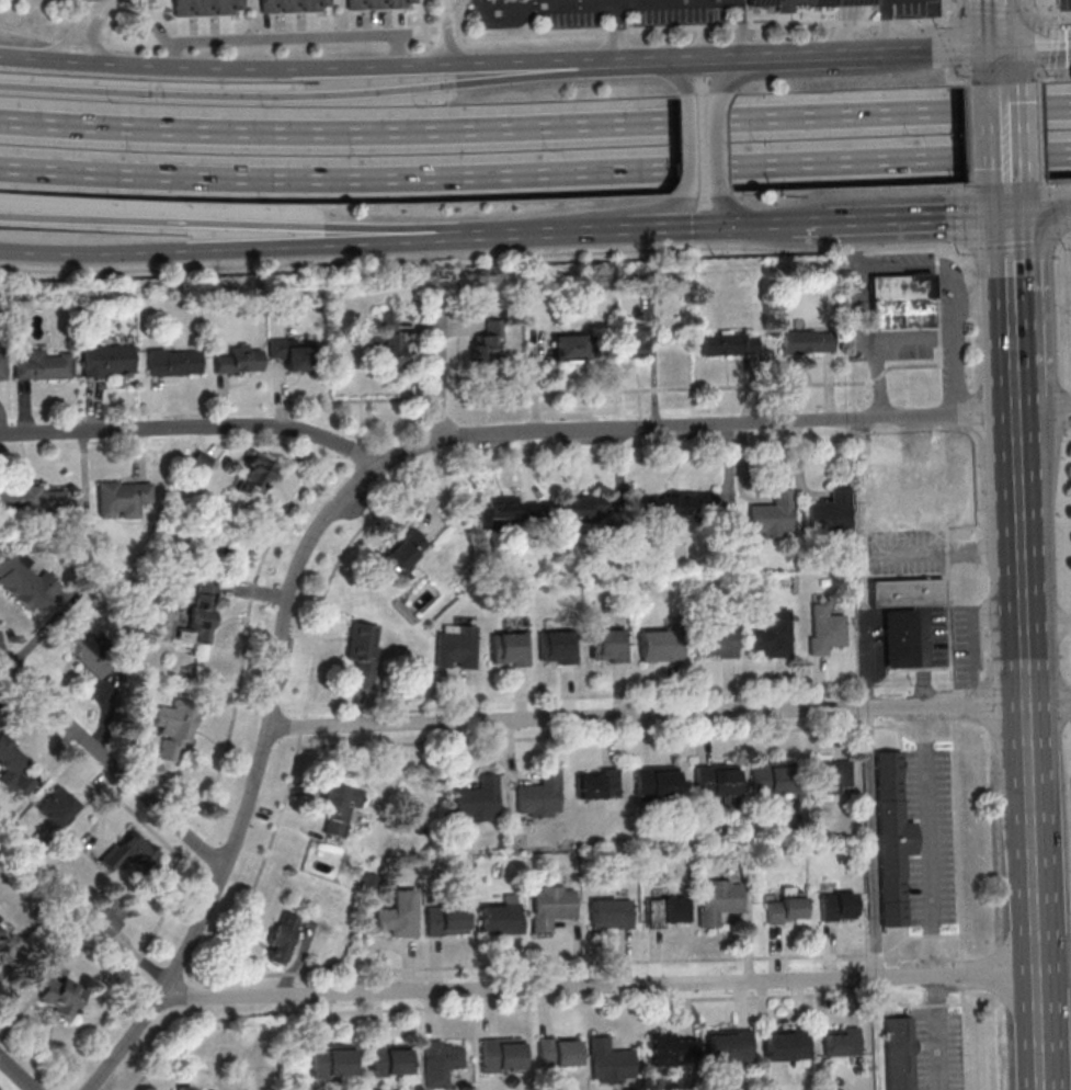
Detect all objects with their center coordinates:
road: (615, 1)
road: (853, 2)
building: (802, 3)
building: (378, 4)
road: (580, 4)
parking lot: (1066, 4)
building: (293, 5)
road: (1058, 7)
building: (206, 8)
road: (511, 8)
road: (950, 8)
road: (1000, 10)
parking lot: (570, 12)
parking lot: (677, 12)
road: (944, 13)
road: (1057, 13)
road: (1059, 16)
road: (1002, 23)
road: (88, 26)
road: (679, 29)
road: (742, 29)
road: (446, 31)
road: (617, 32)
road: (843, 37)
road: (80, 42)
road: (1056, 44)
road: (945, 46)
road: (1037, 46)
road: (958, 48)
traffic signals: (1003, 48)
road: (891, 53)
road: (810, 54)
road: (749, 57)
road: (1003, 57)
road: (669, 59)
road: (743, 66)
road: (297, 67)
road: (834, 72)
road: (677, 73)
road: (1050, 80)
road: (949, 82)
road: (969, 84)
road: (298, 95)
road: (1040, 106)
road: (969, 110)
road: (535, 126)
road: (1006, 129)
road: (717, 145)
road: (691, 147)
road: (1042, 155)
road: (970, 157)
road: (535, 173)
road: (971, 182)
road: (1053, 185)
road: (966, 189)
road: (1009, 203)
road: (1039, 212)
road: (734, 214)
traffic signals: (1009, 214)
road: (955, 215)
road: (596, 217)
road: (919, 217)
road: (799, 222)
road: (242, 223)
road: (698, 225)
road: (556, 230)
road: (1064, 239)
road: (853, 245)
road: (1012, 245)
road: (953, 246)
road: (704, 247)
road: (242, 248)
road: (1010, 259)
road: (219, 266)
road: (920, 269)
road: (459, 298)
building: (901, 300)
road: (985, 305)
road: (959, 321)
road: (898, 339)
building: (388, 340)
building: (634, 340)
building: (807, 341)
building: (489, 342)
building: (728, 344)
road: (1014, 344)
building: (570, 348)
building: (292, 354)
building: (106, 360)
building: (240, 361)
building: (173, 362)
building: (43, 365)
building: (2, 366)
road: (438, 370)
road: (961, 371)
road: (878, 379)
road: (681, 387)
road: (1016, 399)
road: (962, 411)
road: (1044, 412)
road: (362, 421)
road: (943, 422)
road: (727, 424)
road: (196, 427)
road: (360, 453)
building: (201, 461)
road: (328, 462)
building: (253, 475)
road: (945, 477)
road: (1019, 481)
building: (33, 499)
building: (122, 499)
building: (882, 502)
building: (675, 504)
building: (583, 507)
building: (509, 511)
building: (830, 513)
building: (772, 514)
road: (947, 534)
road: (944, 550)
road: (947, 552)
building: (403, 553)
parking lot: (904, 553)
building: (25, 581)
road: (254, 583)
road: (1023, 584)
building: (905, 591)
building: (202, 610)
road: (1047, 621)
road: (949, 625)
road: (1024, 626)
building: (824, 629)
building: (772, 635)
building: (899, 637)
parking lot: (935, 638)
building: (717, 640)
parking lot: (966, 644)
building: (607, 645)
building: (660, 645)
building: (456, 646)
building: (556, 647)
building: (509, 648)
building: (83, 650)
building: (362, 654)
road: (941, 668)
road: (1025, 668)
road: (923, 669)
road: (893, 671)
road: (868, 685)
road: (582, 695)
road: (953, 703)
road: (669, 715)
road: (866, 727)
building: (174, 728)
road: (896, 728)
road: (579, 736)
road: (944, 738)
road: (924, 739)
road: (262, 752)
road: (113, 763)
building: (13, 767)
building: (771, 777)
building: (832, 777)
building: (715, 781)
building: (656, 782)
building: (595, 784)
road: (287, 787)
road: (869, 794)
building: (539, 796)
building: (478, 799)
building: (339, 805)
building: (57, 806)
parking lot: (931, 833)
road: (1032, 837)
road: (958, 838)
building: (891, 839)
road: (162, 840)
road: (930, 849)
building: (123, 852)
road: (210, 892)
building: (718, 899)
building: (551, 906)
building: (786, 907)
building: (838, 907)
building: (665, 912)
building: (609, 913)
building: (399, 915)
building: (105, 916)
building: (502, 916)
building: (446, 920)
building: (1, 931)
road: (952, 934)
road: (932, 935)
building: (282, 938)
road: (1053, 967)
road: (130, 974)
road: (962, 974)
road: (596, 987)
building: (58, 994)
road: (955, 1003)
road: (516, 1004)
road: (937, 1004)
road: (1038, 1029)
road: (965, 1040)
building: (841, 1041)
building: (728, 1045)
road: (41, 1046)
building: (785, 1046)
road: (914, 1047)
building: (671, 1049)
parking lot: (937, 1049)
building: (558, 1052)
building: (899, 1053)
building: (501, 1055)
building: (389, 1059)
building: (331, 1060)
building: (440, 1061)
building: (609, 1061)
road: (15, 1074)
road: (83, 1087)
building: (184, 1088)

